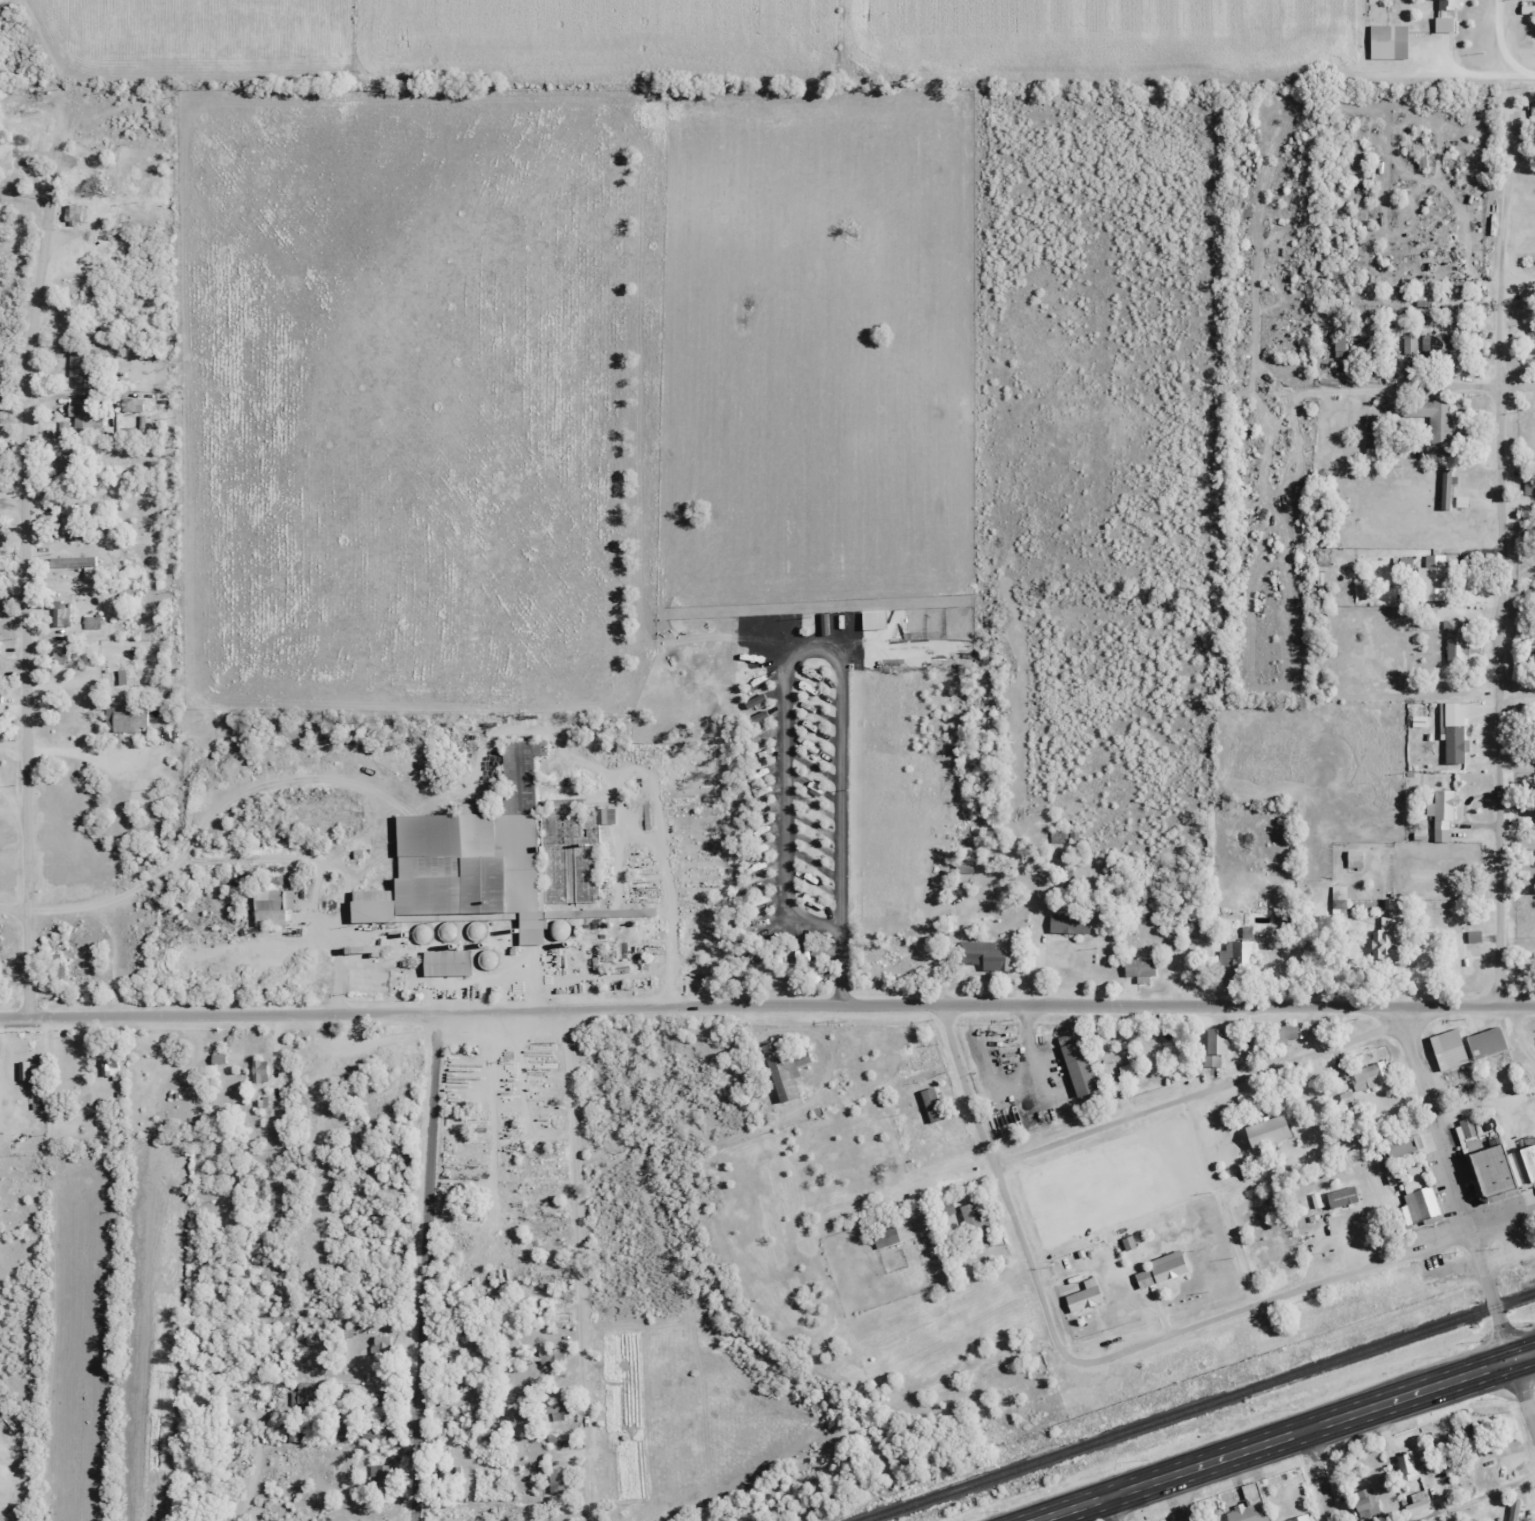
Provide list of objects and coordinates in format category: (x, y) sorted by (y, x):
building: (1446, 4)
building: (1443, 24)
road: (1510, 39)
building: (1388, 41)
building: (1532, 117)
building: (24, 122)
building: (93, 176)
building: (72, 214)
building: (58, 312)
building: (1531, 330)
building: (1409, 346)
building: (1437, 346)
building: (80, 365)
road: (1519, 387)
building: (83, 415)
building: (1434, 423)
building: (67, 463)
building: (1449, 490)
road: (1504, 558)
building: (72, 561)
road: (30, 580)
building: (1431, 584)
building: (1455, 643)
building: (129, 674)
road: (1518, 693)
building: (126, 720)
building: (1453, 733)
building: (1441, 810)
building: (605, 815)
building: (1063, 836)
building: (485, 858)
building: (1338, 892)
building: (270, 906)
road: (14, 910)
building: (1068, 924)
building: (1387, 938)
building: (1174, 940)
building: (986, 954)
building: (1236, 956)
building: (1458, 957)
building: (1139, 966)
road: (767, 1005)
building: (1286, 1033)
building: (1485, 1042)
building: (1214, 1046)
building: (1447, 1048)
building: (802, 1057)
building: (1077, 1066)
building: (259, 1068)
building: (32, 1069)
building: (779, 1075)
building: (1366, 1076)
road: (1203, 1092)
building: (930, 1103)
building: (911, 1139)
building: (1499, 1164)
road: (1004, 1181)
road: (1458, 1183)
building: (1420, 1195)
building: (1340, 1196)
building: (943, 1208)
building: (976, 1226)
building: (885, 1236)
road: (428, 1253)
railway: (1524, 1261)
road: (578, 1265)
building: (1161, 1269)
road: (1299, 1290)
road: (1523, 1395)
railway: (1195, 1405)
building: (558, 1411)
road: (1285, 1436)
building: (1406, 1465)
road: (1322, 1475)
building: (558, 1480)
road: (1471, 1498)
building: (1365, 1502)
building: (1248, 1505)
road: (1115, 1508)
building: (1514, 1510)

